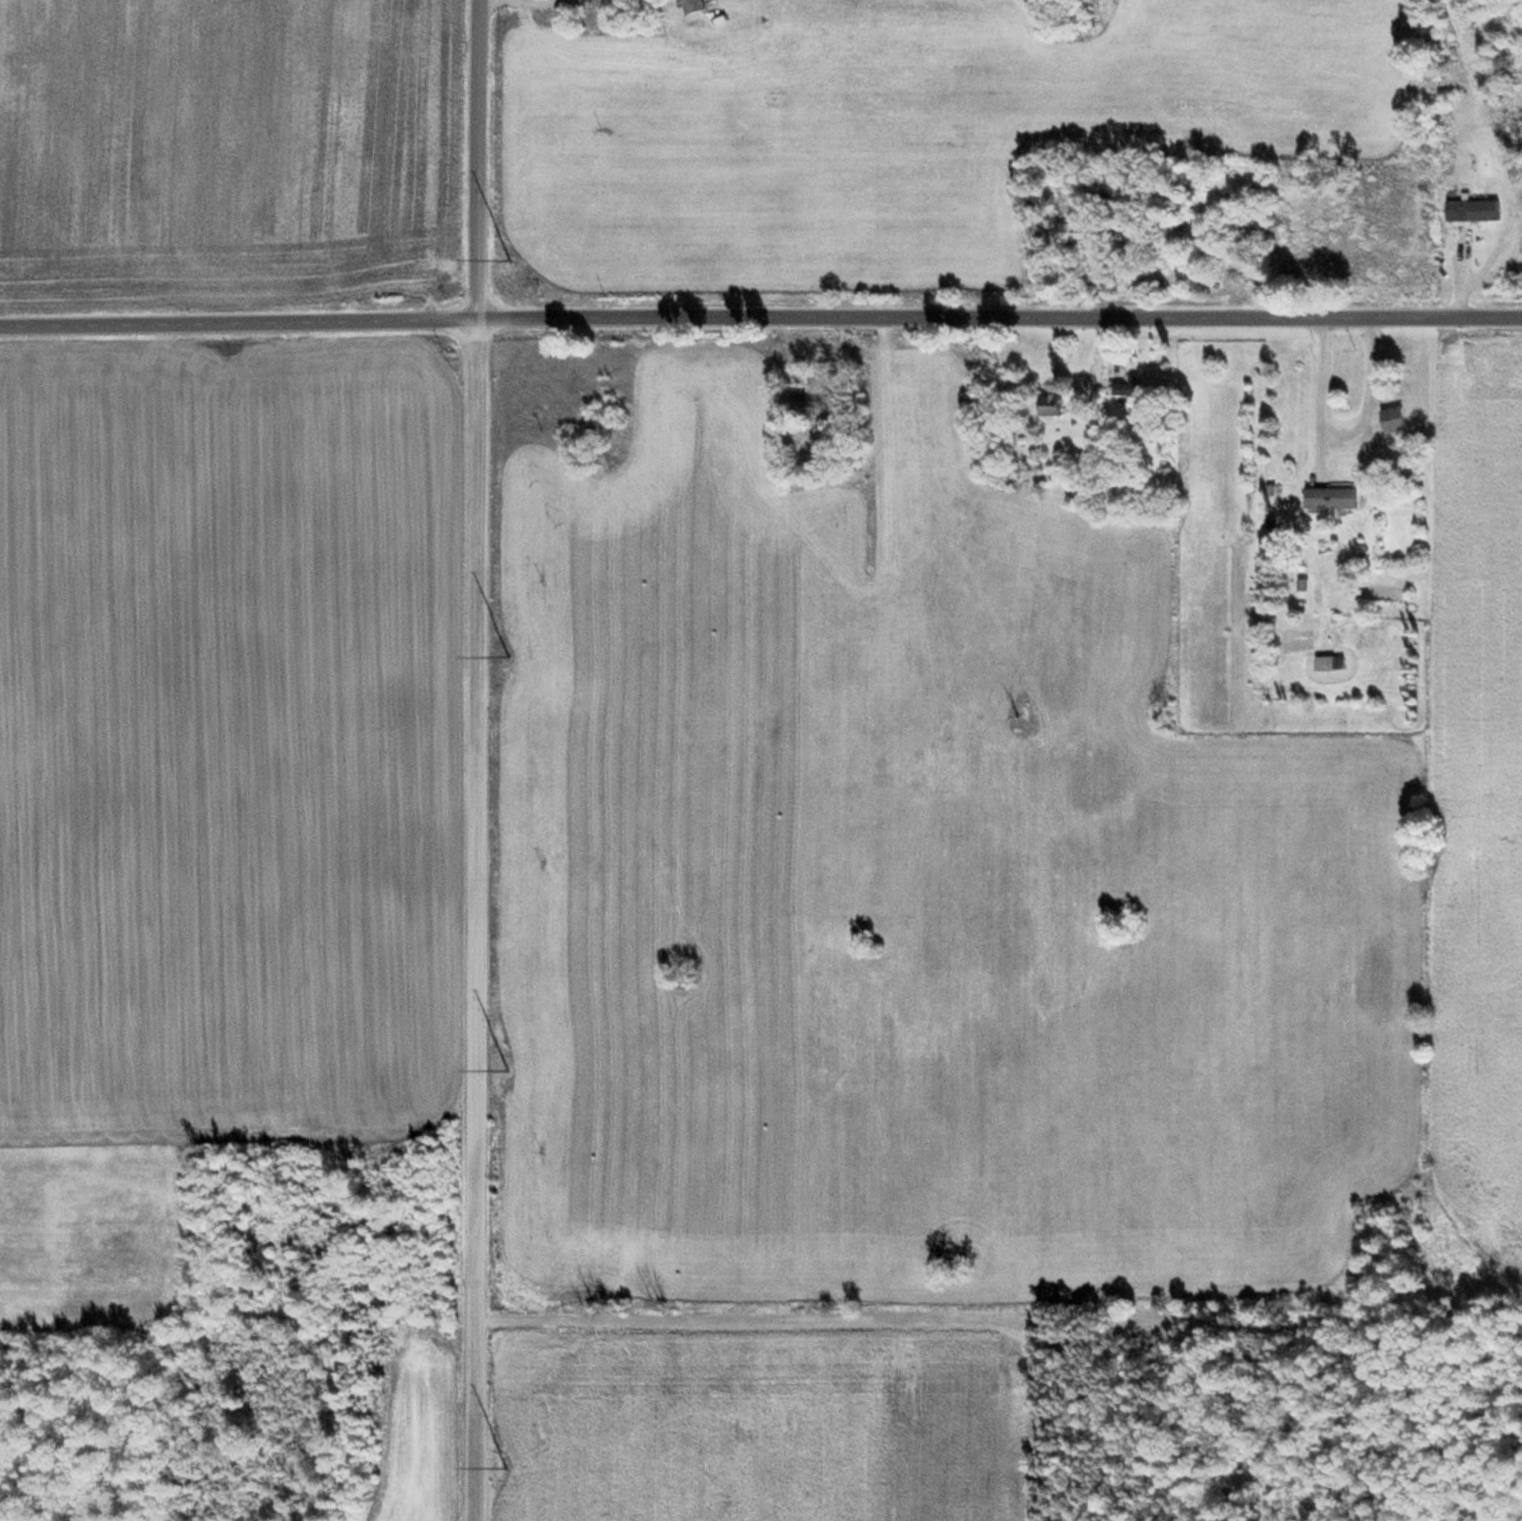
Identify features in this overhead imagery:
building: (690, 7)
building: (1469, 212)
building: (1209, 224)
building: (1064, 234)
building: (397, 252)
road: (760, 328)
building: (1139, 394)
building: (799, 400)
building: (1047, 406)
building: (1387, 422)
building: (1329, 498)
building: (1327, 663)
road: (471, 760)

